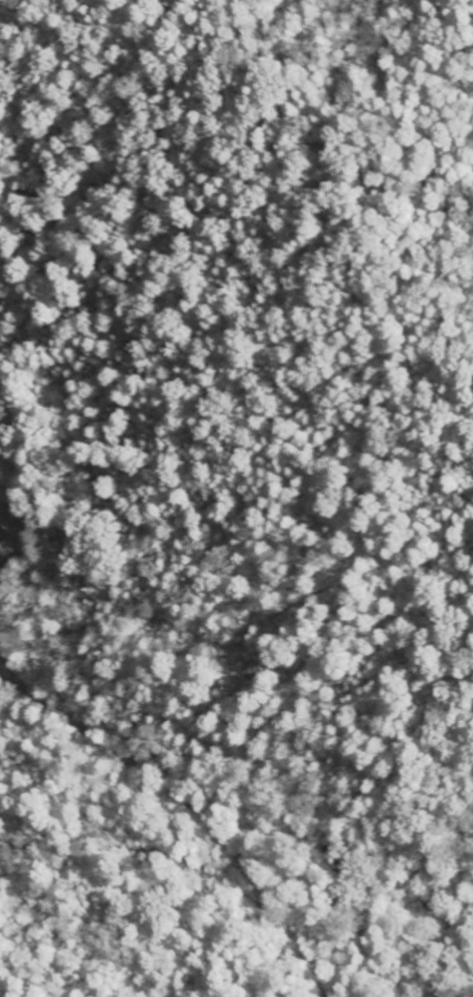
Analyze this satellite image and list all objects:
road: (213, 817)

